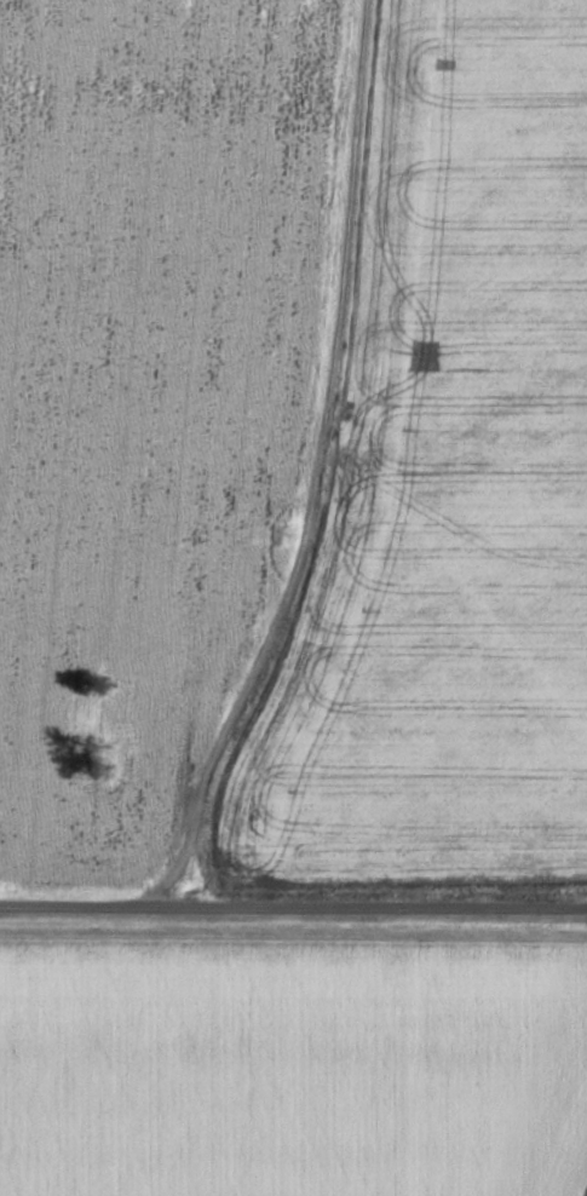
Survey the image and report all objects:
road: (293, 901)

